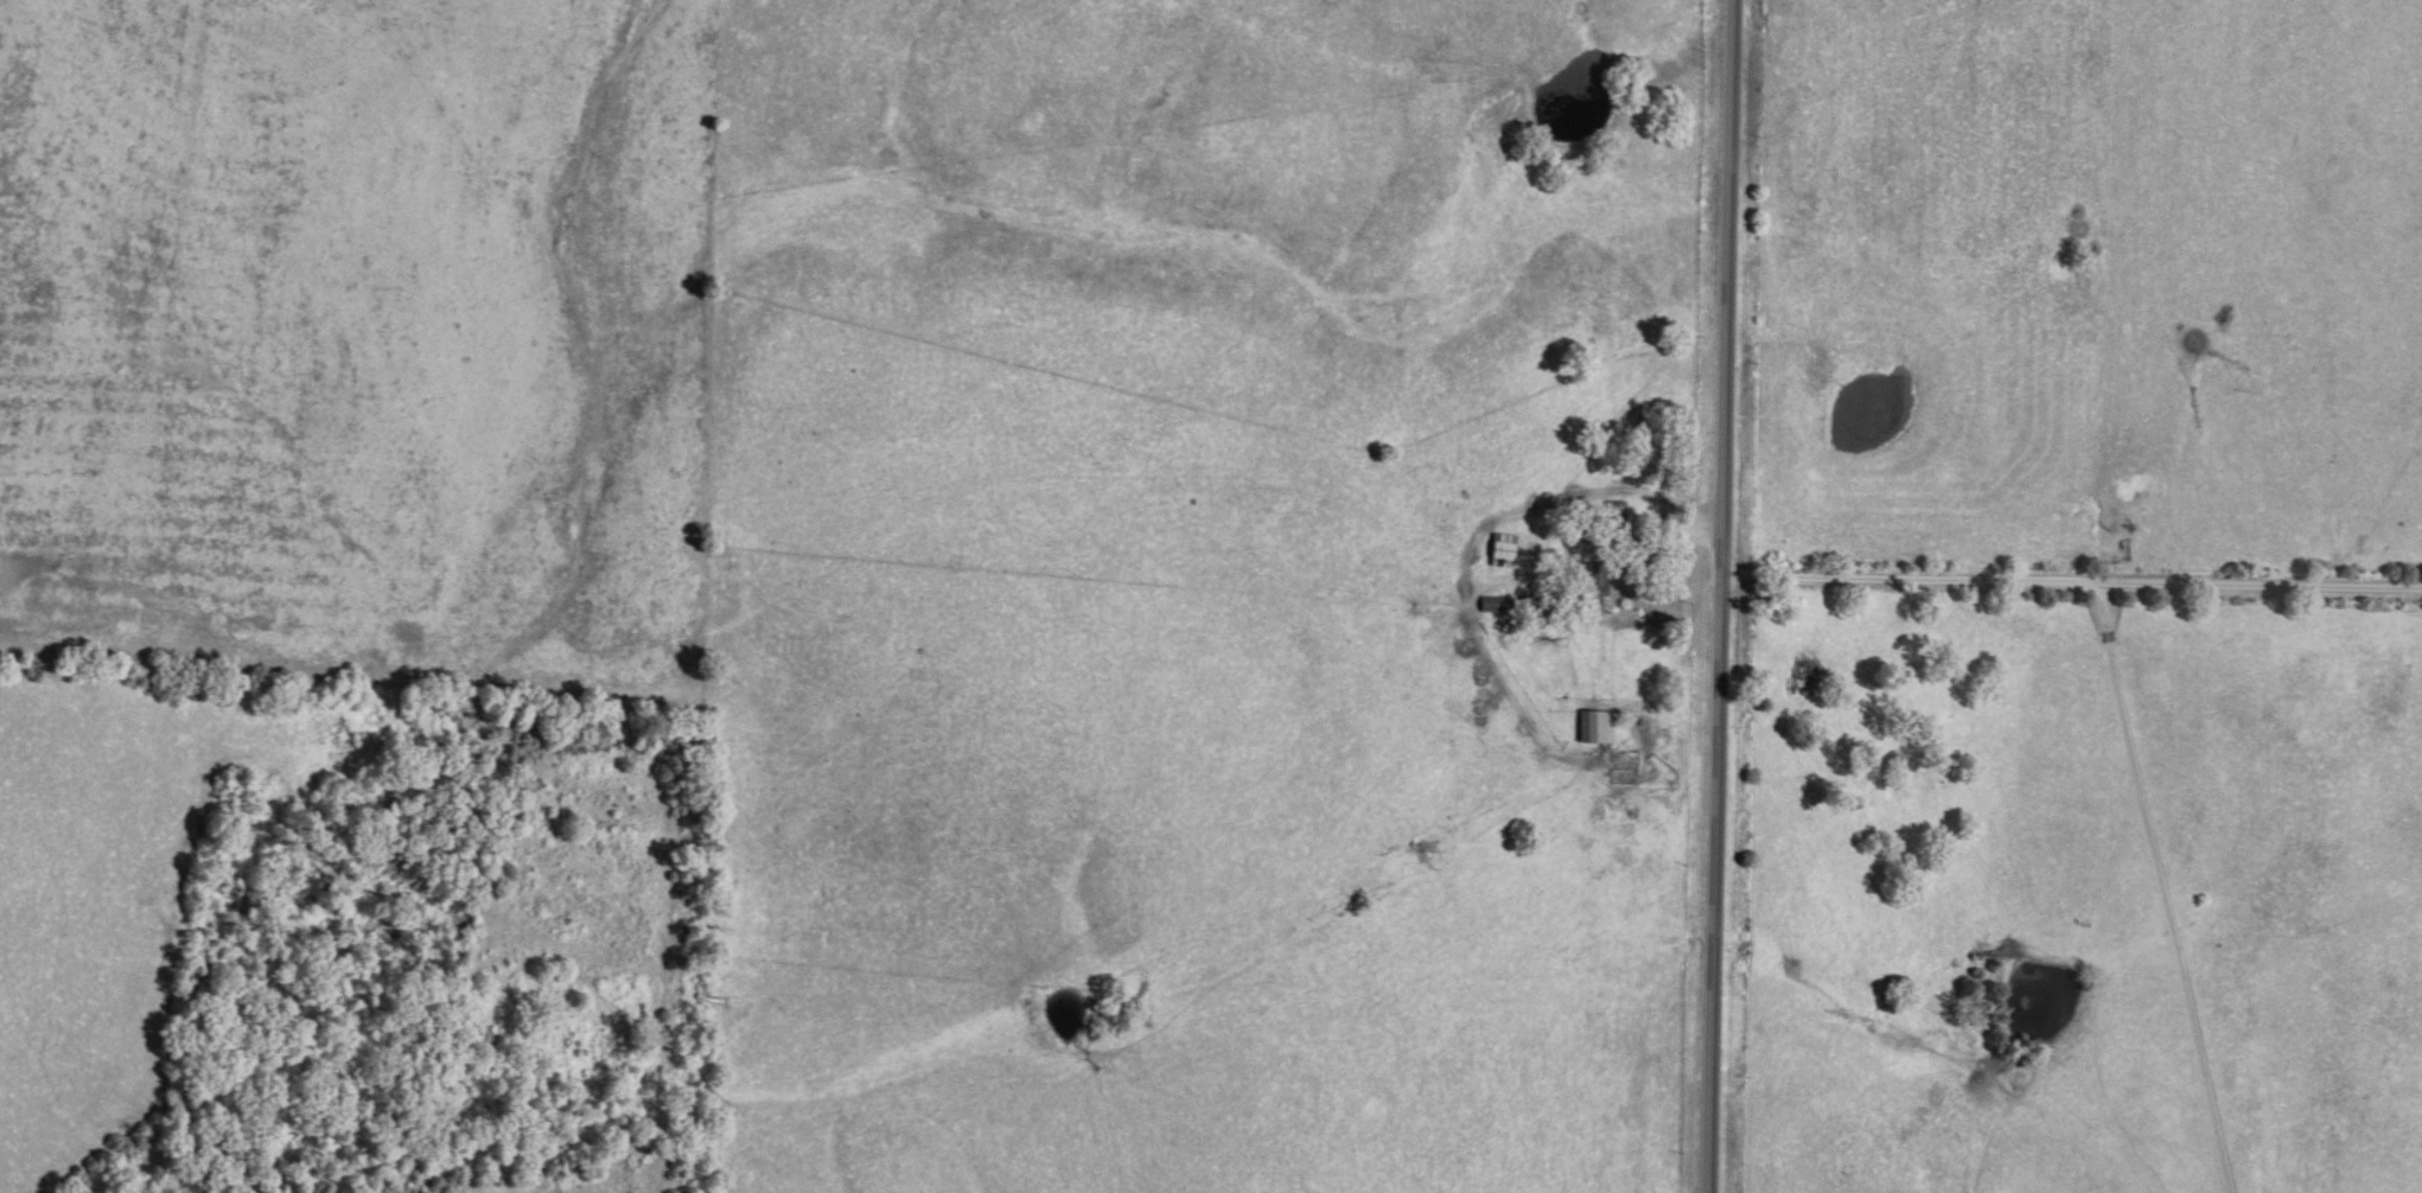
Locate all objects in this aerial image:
building: (1613, 511)
building: (1500, 546)
road: (2070, 573)
building: (1591, 589)
road: (1717, 595)
building: (1595, 726)

